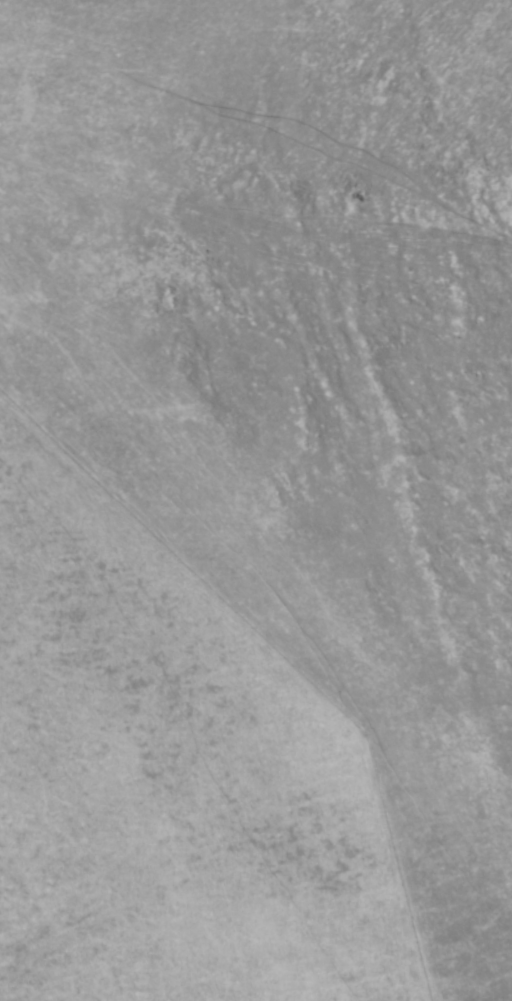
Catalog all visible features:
crop: (95, 228)
crop: (48, 915)

